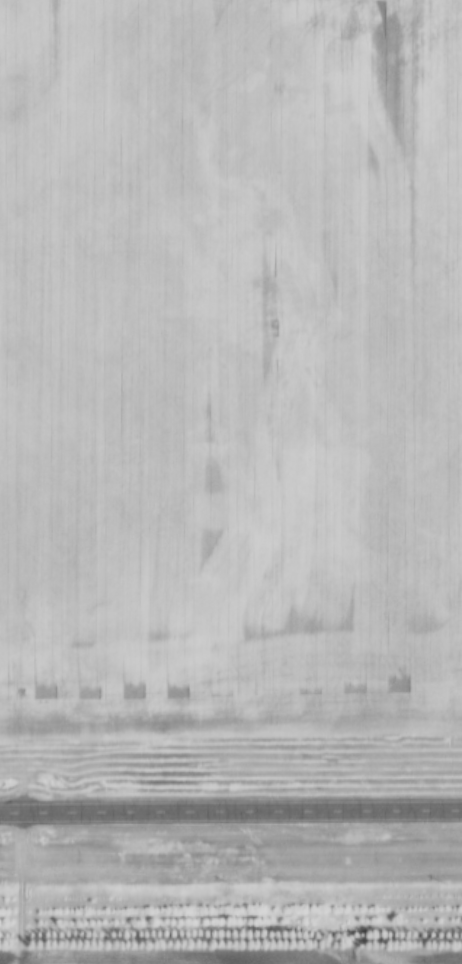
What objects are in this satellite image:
road: (231, 809)

